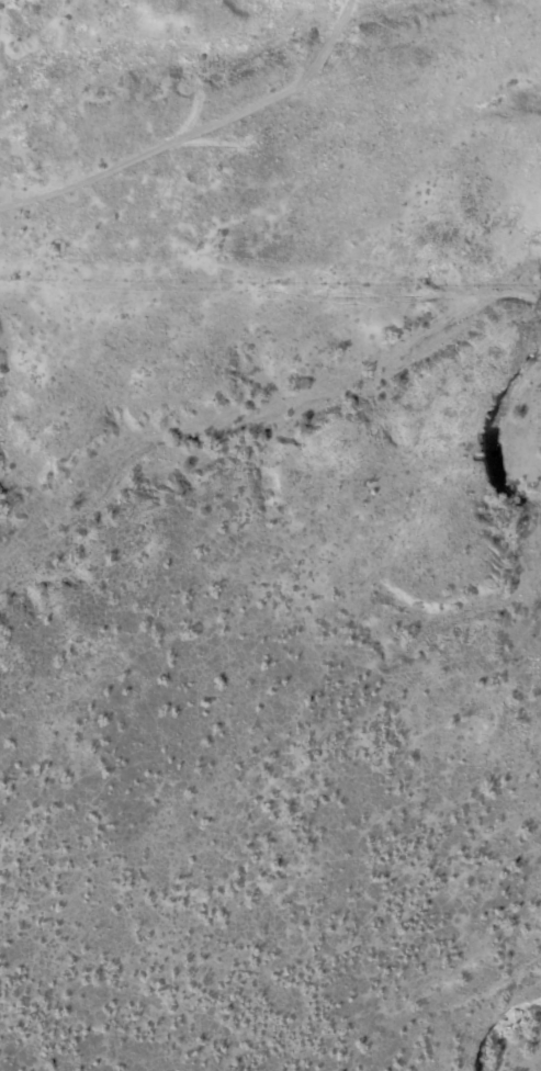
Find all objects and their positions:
road: (261, 639)

